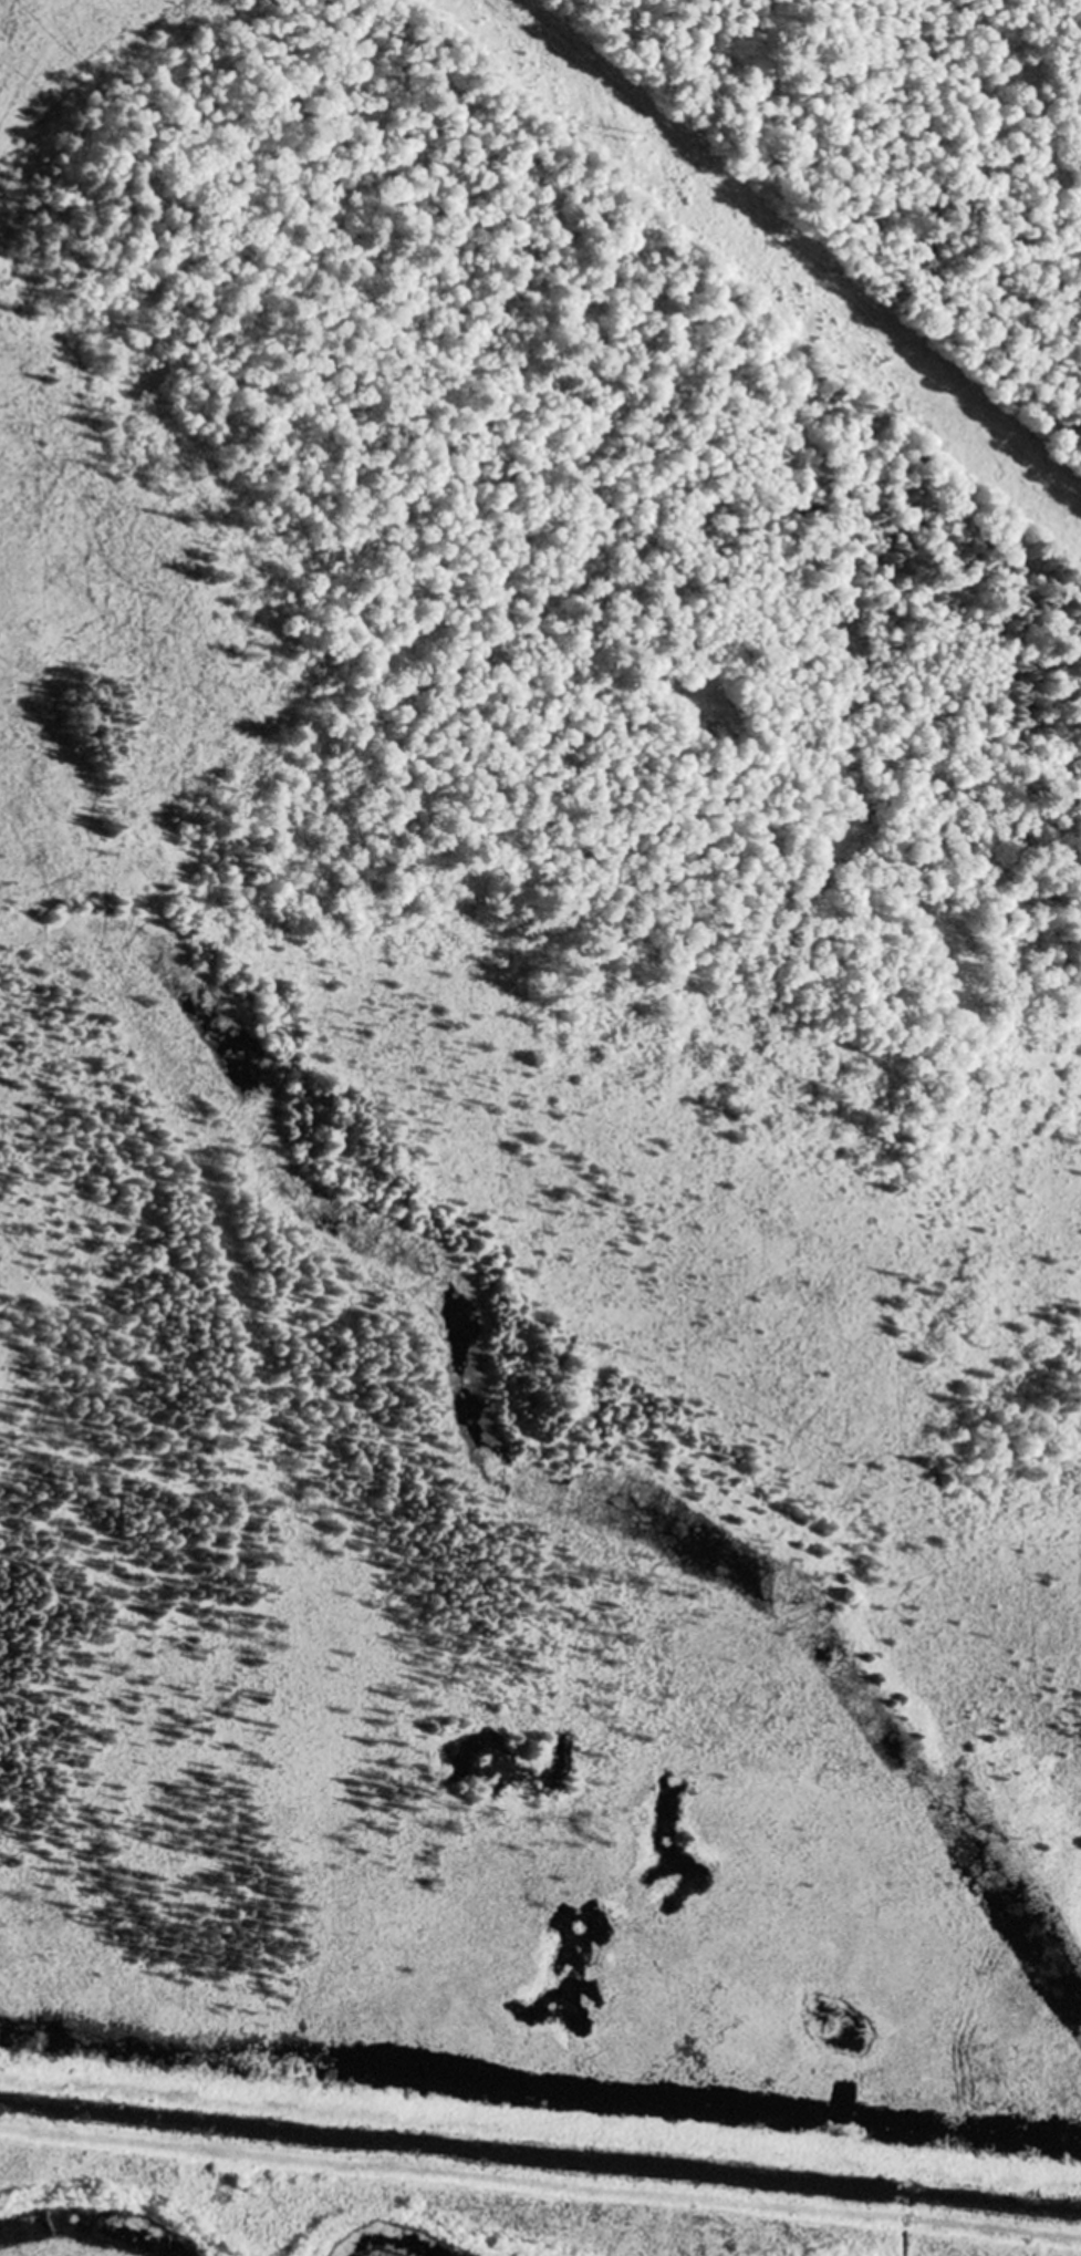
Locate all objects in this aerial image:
power tower: (624, 138)

